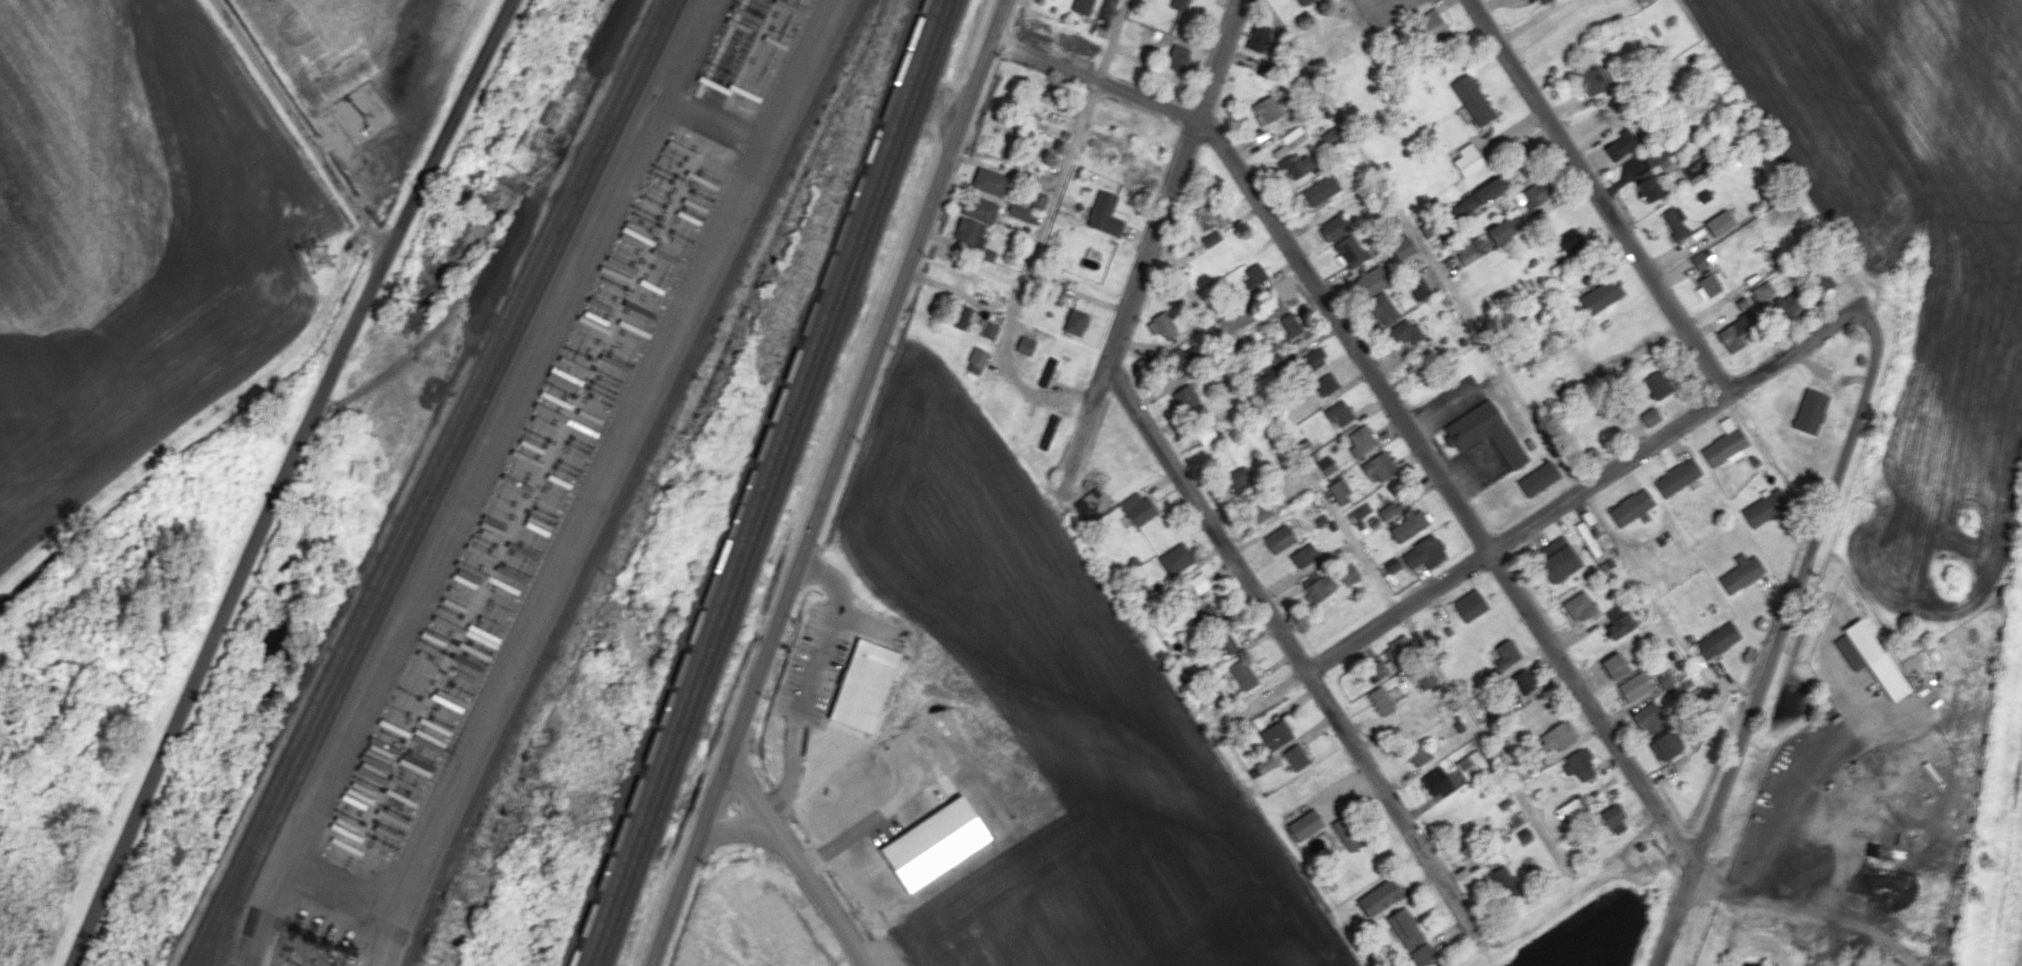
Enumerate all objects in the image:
building: (1301, 1)
building: (1639, 1)
road: (1381, 3)
building: (1179, 5)
building: (1083, 6)
road: (229, 17)
road: (1531, 20)
building: (1433, 27)
building: (1131, 29)
building: (1258, 36)
road: (1115, 40)
crop: (370, 56)
building: (1177, 57)
building: (1265, 68)
building: (1591, 76)
building: (1048, 97)
building: (1472, 100)
building: (1266, 110)
building: (1042, 125)
building: (1330, 137)
building: (1290, 141)
road: (316, 144)
building: (1620, 145)
building: (1664, 155)
building: (1467, 159)
building: (1295, 166)
building: (988, 182)
crop: (1915, 182)
building: (1648, 186)
building: (1321, 190)
building: (1536, 193)
road: (1601, 195)
building: (1704, 195)
building: (1477, 198)
building: (1038, 201)
building: (980, 210)
building: (1022, 213)
building: (1104, 214)
building: (1212, 214)
building: (1720, 223)
building: (1675, 224)
building: (1335, 227)
building: (969, 231)
building: (1500, 231)
building: (1211, 239)
building: (1570, 241)
building: (1477, 244)
road: (1421, 245)
road: (1153, 246)
building: (1401, 248)
crop: (132, 250)
building: (1350, 250)
building: (1466, 252)
power tower: (317, 258)
building: (1703, 259)
road: (1027, 268)
building: (1253, 275)
building: (1822, 279)
building: (1372, 280)
building: (1707, 285)
building: (1418, 287)
building: (1762, 291)
building: (1055, 292)
building: (1600, 296)
building: (1786, 305)
building: (959, 315)
building: (1075, 321)
building: (1291, 324)
building: (1162, 326)
building: (985, 329)
building: (1404, 331)
building: (1734, 334)
building: (1025, 345)
building: (977, 356)
building: (1184, 358)
building: (1310, 361)
building: (1047, 372)
building: (1325, 384)
building: (1658, 384)
road: (1388, 396)
building: (1185, 397)
road: (1456, 399)
building: (1810, 411)
building: (1339, 413)
building: (1650, 416)
road: (1277, 426)
road: (494, 430)
building: (1050, 430)
building: (1487, 433)
building: (1205, 434)
building: (1361, 440)
building: (1725, 443)
building: (1326, 465)
building: (1378, 466)
building: (1677, 477)
road: (287, 478)
building: (1538, 478)
railway: (445, 480)
railway: (627, 480)
building: (1237, 480)
railway: (421, 482)
railway: (433, 482)
railway: (761, 482)
railway: (771, 482)
road: (827, 482)
railway: (748, 483)
railway: (781, 483)
road: (1583, 488)
building: (1339, 491)
road: (588, 498)
building: (1090, 503)
building: (1631, 507)
building: (1764, 507)
building: (1137, 508)
building: (1386, 511)
building: (1259, 512)
building: (1408, 524)
building: (1278, 538)
building: (1424, 552)
building: (1304, 555)
building: (1175, 558)
building: (1556, 559)
building: (1392, 567)
building: (1347, 572)
building: (1741, 573)
building: (1198, 583)
building: (1316, 586)
building: (1469, 605)
building: (1578, 606)
road: (1662, 613)
building: (1206, 615)
road: (865, 626)
building: (1619, 626)
road: (1780, 634)
building: (1717, 640)
building: (1224, 641)
road: (1291, 645)
building: (1506, 653)
building: (1869, 657)
building: (1392, 658)
building: (1614, 665)
building: (1244, 673)
building: (1425, 678)
building: (1664, 679)
building: (1522, 681)
road: (810, 683)
building: (862, 684)
building: (1633, 686)
building: (1380, 700)
building: (1648, 717)
crop: (1062, 718)
building: (1276, 735)
building: (1558, 736)
building: (1665, 745)
building: (1420, 755)
building: (1296, 757)
building: (1677, 760)
building: (1470, 764)
building: (1579, 764)
building: (1536, 765)
building: (1262, 766)
building: (1437, 782)
road: (755, 797)
building: (1573, 808)
road: (875, 817)
building: (1614, 818)
road: (1795, 820)
building: (1305, 825)
road: (738, 828)
building: (1347, 833)
building: (934, 843)
building: (1504, 883)
building: (1378, 897)
road: (822, 900)
road: (257, 911)
railway: (228, 915)
building: (1405, 927)
building: (1422, 954)

